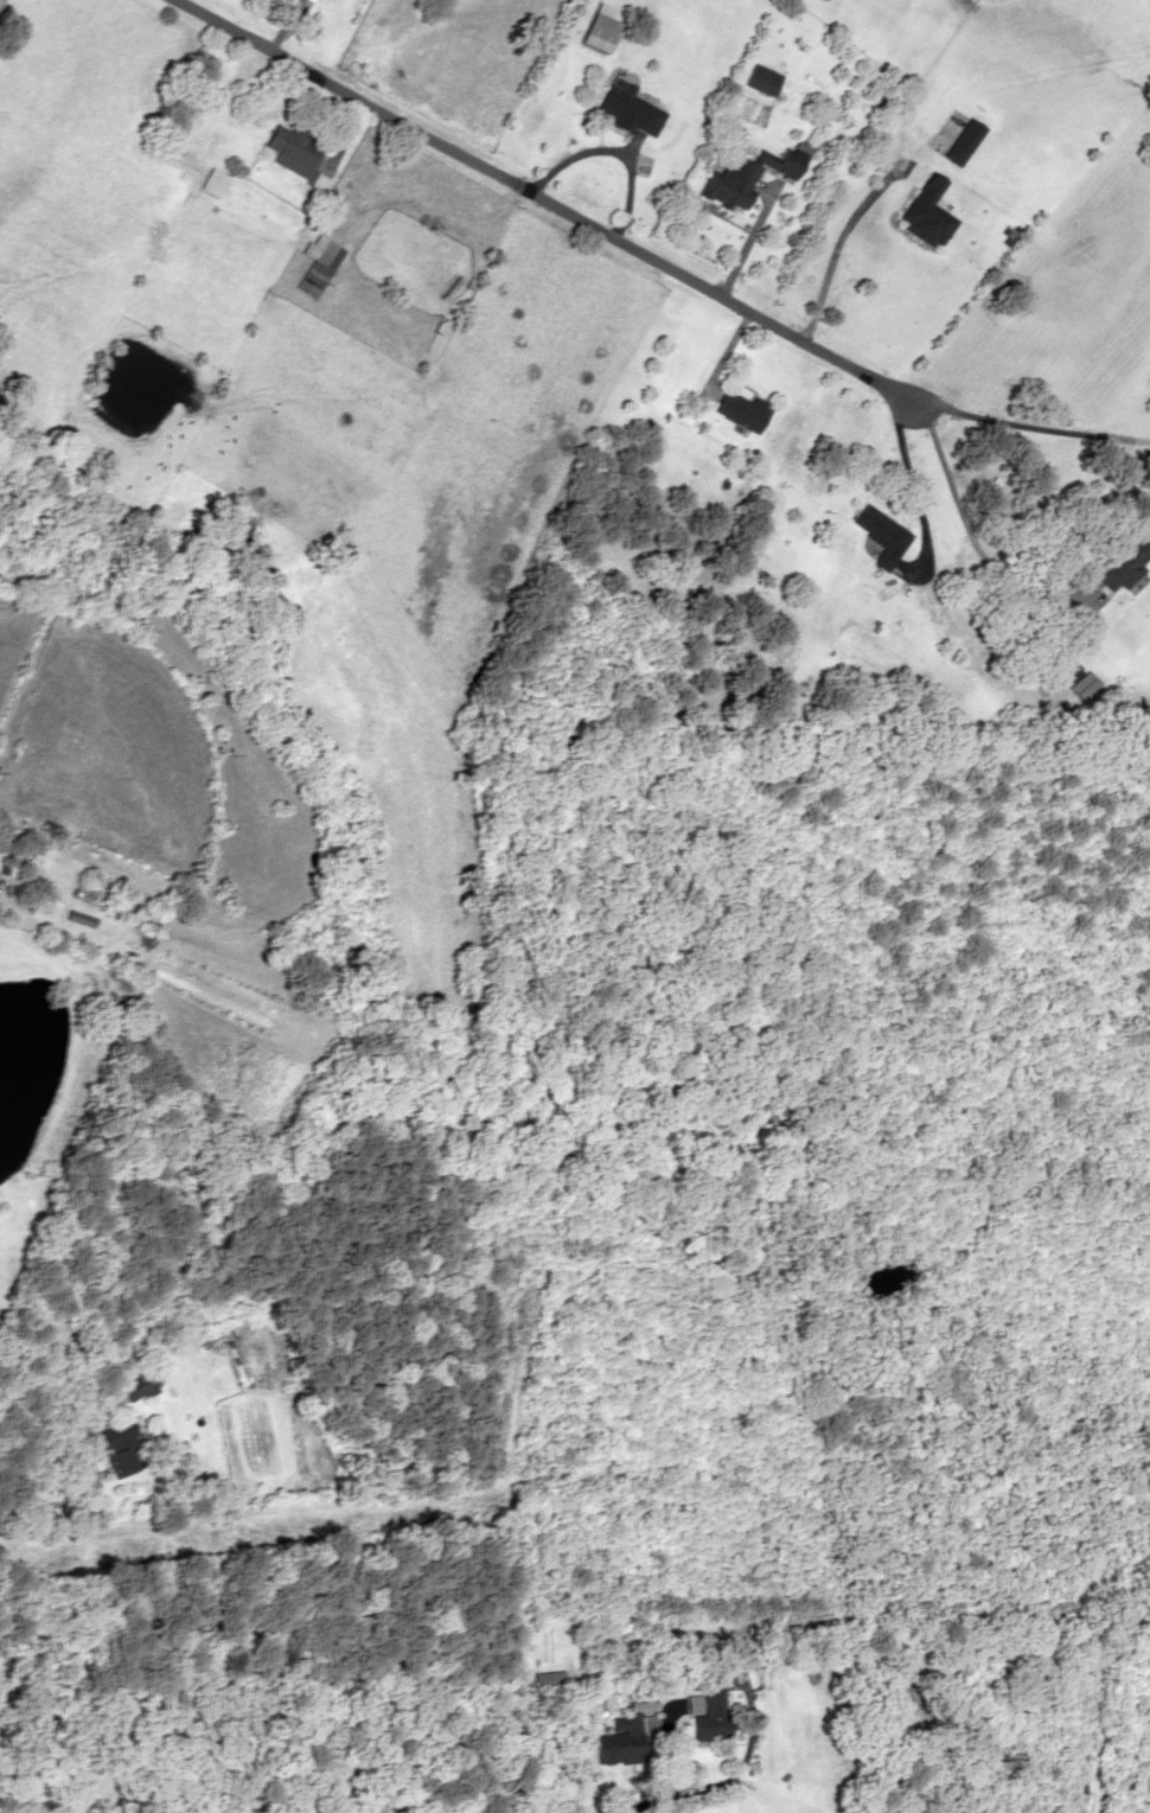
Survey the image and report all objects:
building: (822, 0)
building: (596, 38)
building: (760, 79)
building: (627, 111)
building: (953, 153)
building: (294, 155)
building: (781, 161)
building: (212, 181)
building: (731, 185)
road: (539, 200)
building: (925, 213)
building: (315, 264)
building: (743, 409)
building: (881, 534)
building: (1124, 561)
building: (845, 684)
building: (139, 1384)
building: (120, 1448)
building: (713, 1681)
building: (708, 1716)
building: (622, 1739)
building: (103, 1750)
road: (667, 1799)

